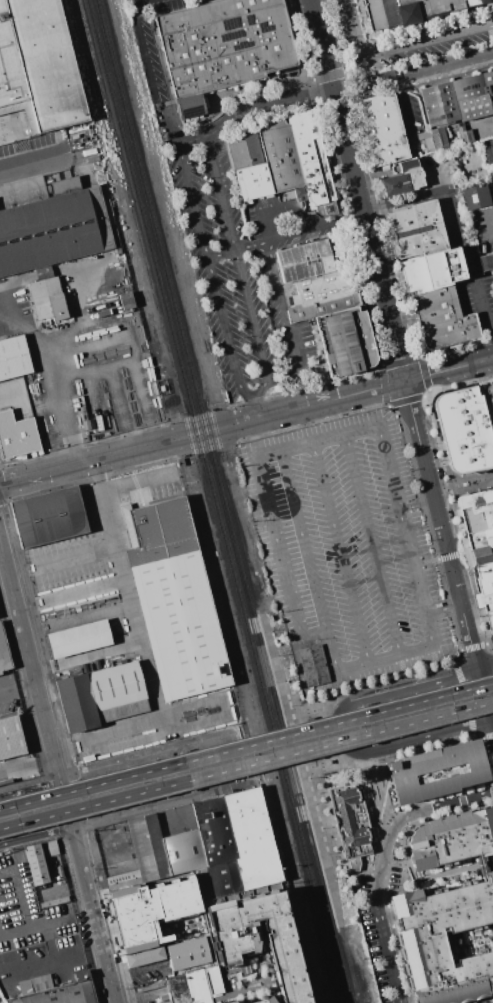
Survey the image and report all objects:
parking lot: (169, 5)
building: (426, 7)
building: (374, 14)
road: (347, 20)
road: (401, 27)
road: (294, 37)
road: (360, 39)
road: (302, 40)
road: (409, 45)
building: (222, 46)
road: (343, 47)
road: (147, 49)
parking lot: (411, 54)
road: (459, 61)
building: (39, 64)
road: (389, 77)
road: (242, 90)
road: (315, 92)
building: (458, 99)
road: (254, 107)
building: (382, 127)
building: (464, 135)
building: (426, 139)
building: (438, 139)
building: (489, 153)
building: (282, 154)
building: (313, 160)
road: (31, 162)
building: (251, 165)
road: (374, 177)
building: (402, 178)
road: (359, 190)
building: (475, 196)
road: (404, 200)
road: (447, 201)
road: (280, 208)
road: (489, 222)
building: (53, 227)
building: (421, 229)
road: (288, 233)
road: (351, 234)
railway: (140, 240)
building: (485, 261)
parking lot: (246, 265)
building: (434, 269)
building: (43, 272)
road: (243, 276)
building: (316, 276)
road: (217, 282)
building: (46, 299)
building: (126, 300)
road: (486, 310)
building: (444, 317)
road: (78, 319)
road: (287, 322)
building: (347, 339)
road: (457, 348)
road: (421, 355)
building: (13, 357)
road: (402, 360)
road: (449, 369)
road: (425, 373)
road: (114, 378)
road: (49, 379)
road: (385, 385)
road: (461, 385)
road: (430, 392)
building: (488, 400)
road: (406, 401)
road: (321, 402)
building: (465, 430)
road: (205, 432)
building: (16, 435)
railway: (215, 436)
road: (444, 458)
road: (87, 461)
road: (417, 499)
railway: (215, 501)
railway: (223, 501)
building: (50, 517)
road: (459, 519)
building: (480, 541)
road: (372, 543)
road: (276, 547)
parking lot: (351, 548)
road: (448, 549)
road: (341, 551)
road: (75, 554)
road: (450, 556)
road: (316, 591)
road: (477, 594)
building: (175, 602)
road: (445, 608)
railway: (2, 609)
road: (89, 613)
railway: (34, 630)
building: (81, 639)
road: (140, 644)
road: (489, 645)
road: (474, 647)
building: (4, 654)
road: (100, 658)
road: (28, 659)
building: (314, 666)
road: (16, 681)
road: (376, 683)
road: (401, 690)
building: (101, 696)
road: (464, 698)
road: (327, 733)
road: (479, 736)
road: (488, 736)
building: (10, 737)
road: (422, 739)
road: (246, 745)
road: (145, 751)
road: (387, 757)
road: (487, 761)
road: (27, 765)
road: (246, 765)
railway: (297, 769)
building: (435, 771)
road: (29, 780)
road: (379, 794)
road: (407, 819)
building: (353, 825)
road: (36, 835)
building: (251, 838)
building: (451, 838)
building: (216, 845)
building: (147, 847)
building: (183, 851)
building: (36, 863)
road: (479, 865)
building: (58, 871)
road: (347, 875)
building: (122, 880)
building: (202, 883)
road: (88, 887)
road: (17, 892)
building: (53, 901)
building: (150, 915)
road: (60, 917)
road: (13, 929)
parking lot: (33, 931)
building: (261, 939)
building: (420, 941)
road: (387, 951)
building: (188, 953)
parking lot: (383, 958)
road: (53, 961)
road: (131, 970)
building: (187, 987)
building: (56, 990)
railway: (331, 995)
building: (262, 1001)

